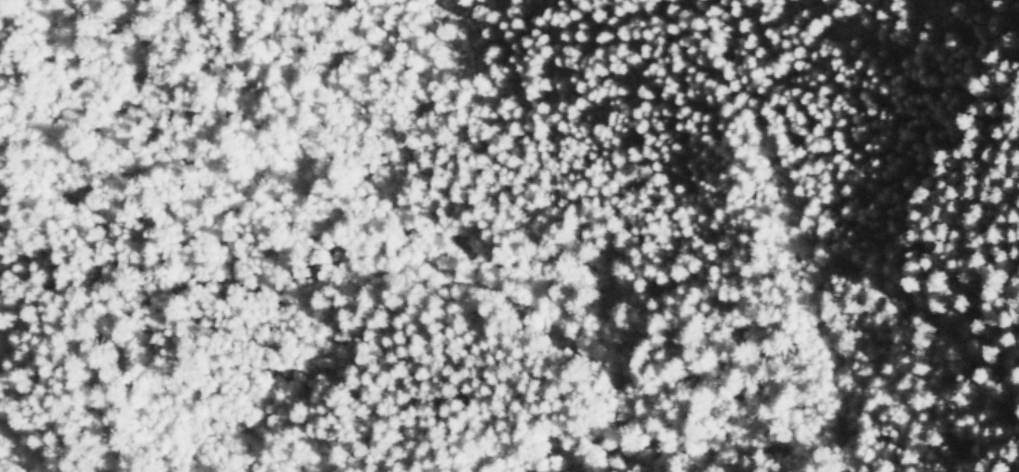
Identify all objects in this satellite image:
road: (721, 230)

